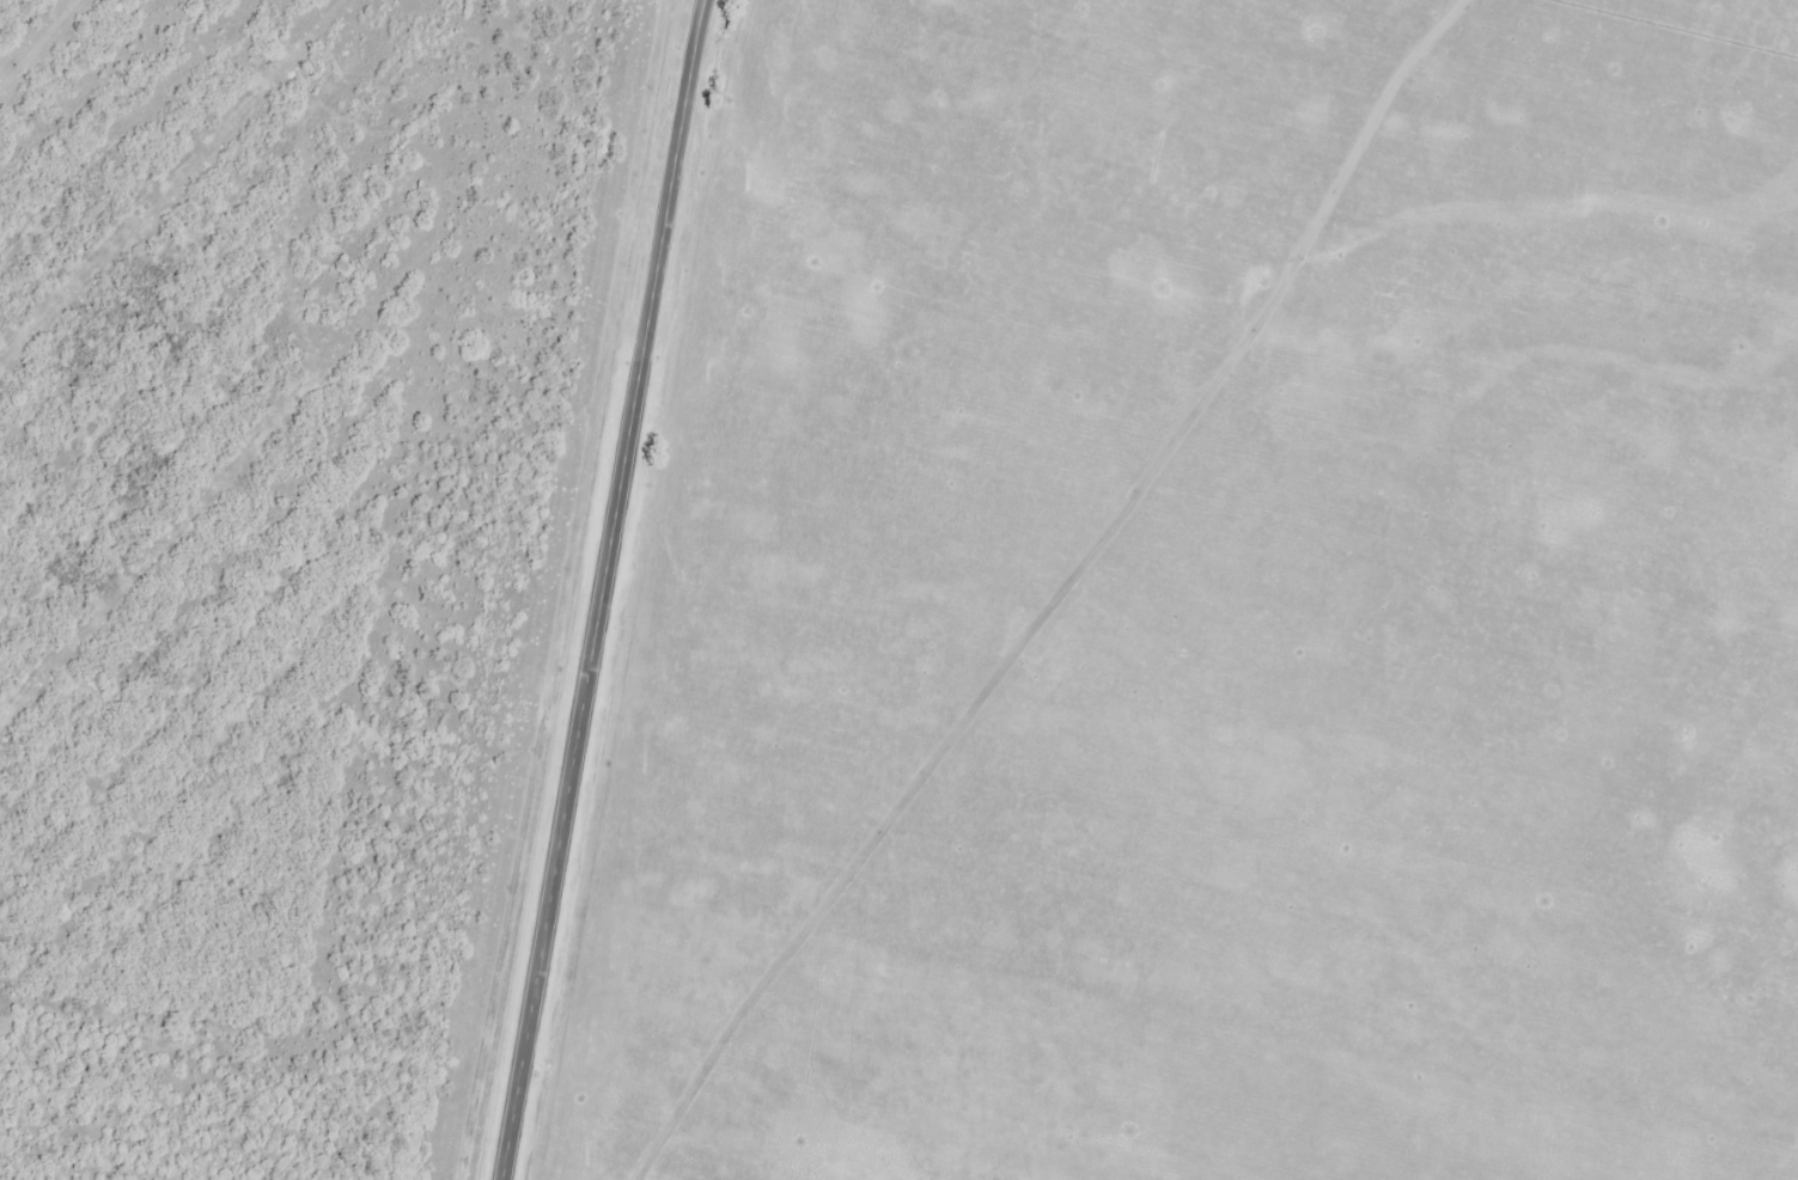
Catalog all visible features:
road: (598, 588)

